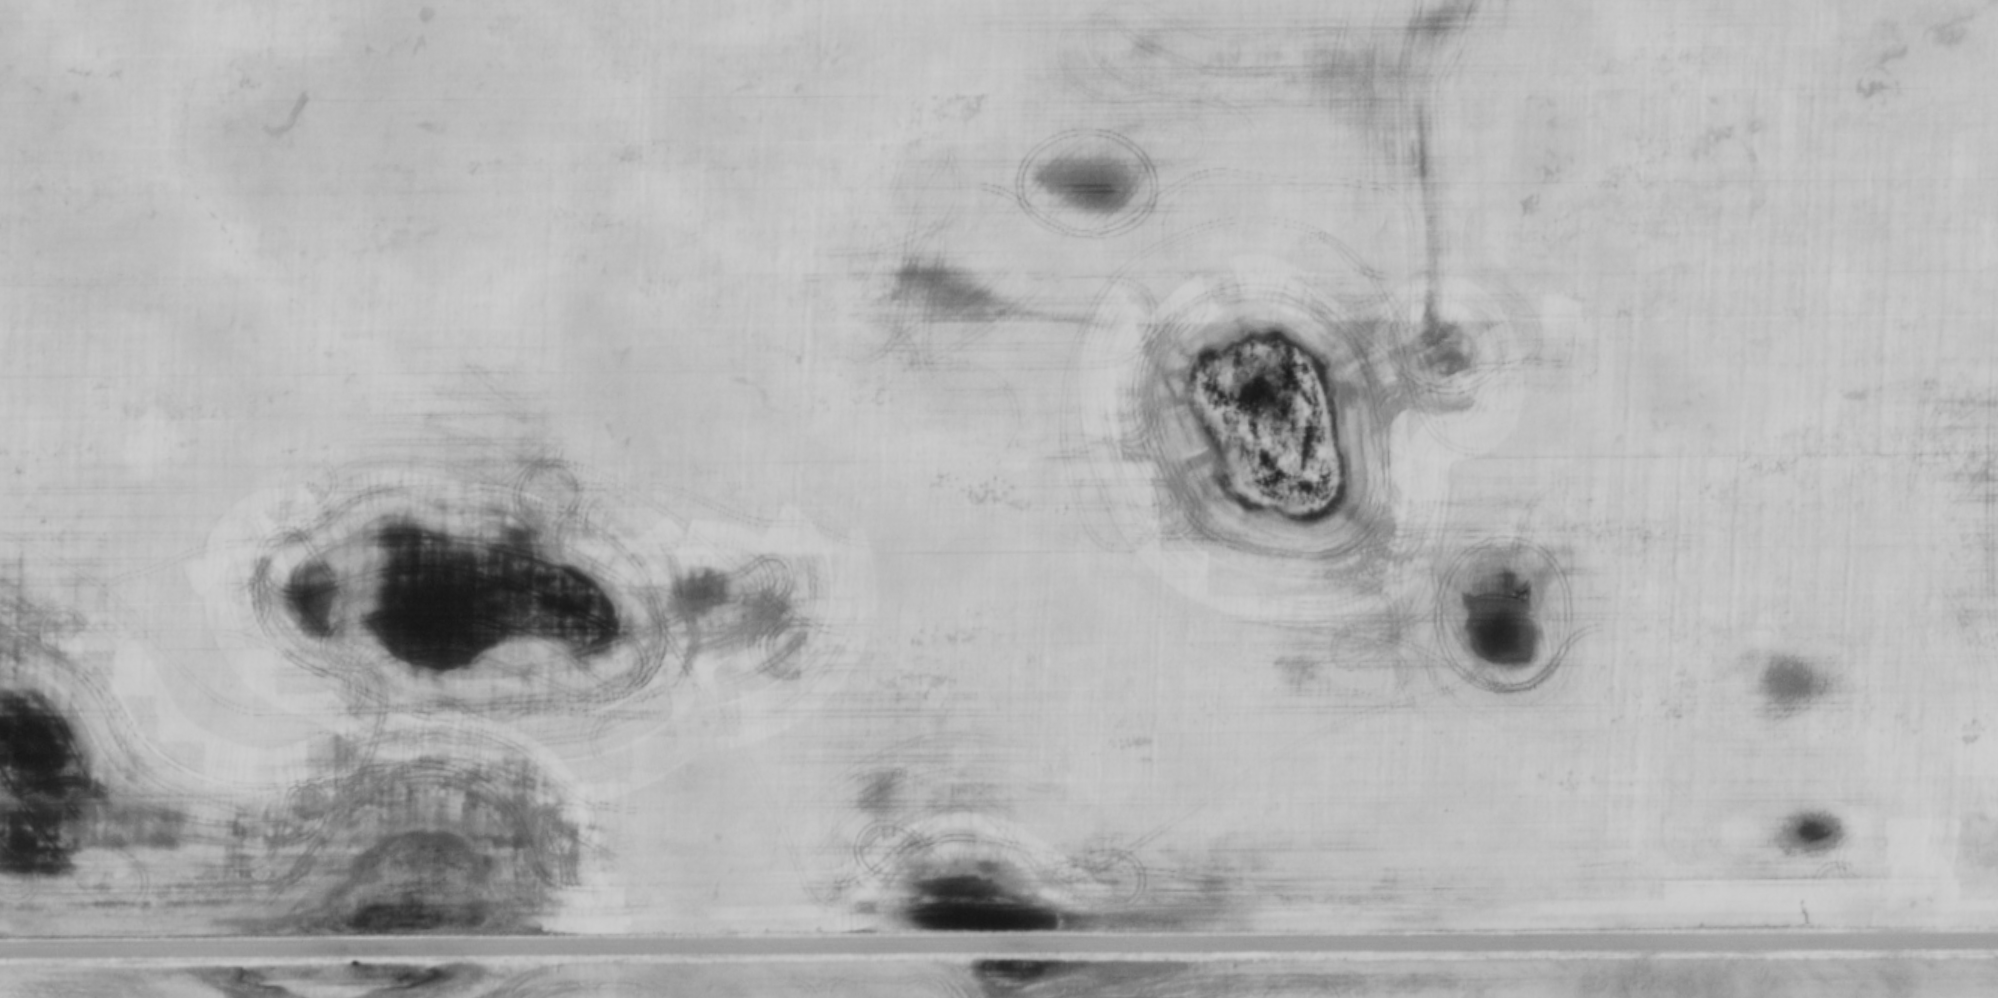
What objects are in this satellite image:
road: (998, 942)

